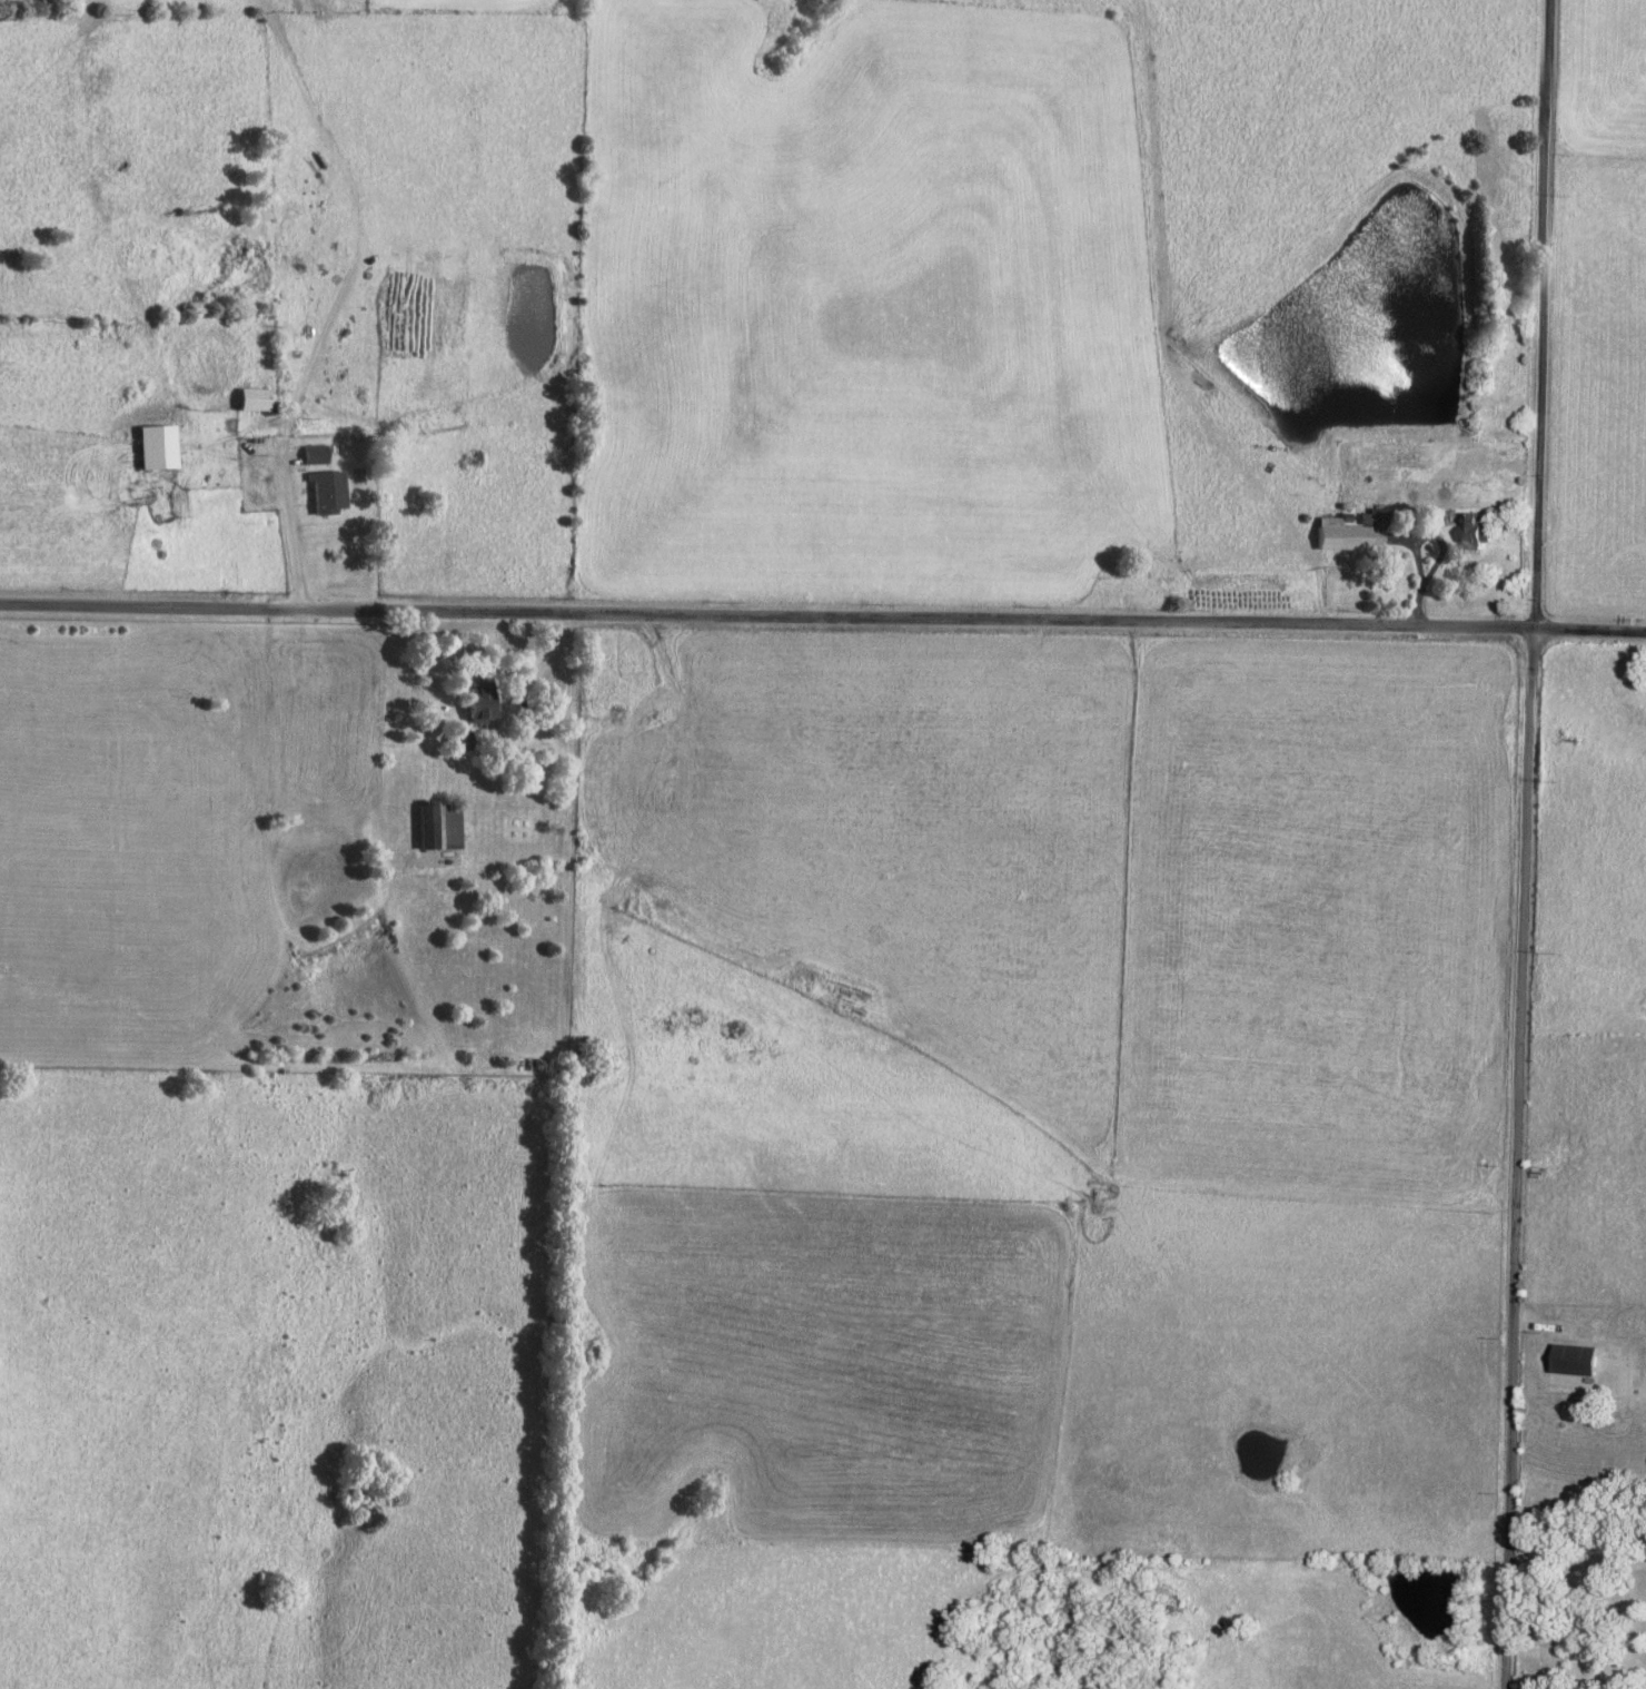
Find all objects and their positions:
road: (1539, 316)
building: (247, 398)
building: (151, 446)
building: (311, 453)
building: (323, 492)
building: (1347, 532)
building: (1467, 532)
road: (296, 539)
building: (1386, 560)
road: (823, 620)
road: (566, 695)
building: (469, 703)
building: (454, 740)
building: (434, 827)
road: (1515, 1160)
building: (1567, 1359)
road: (1574, 1568)

